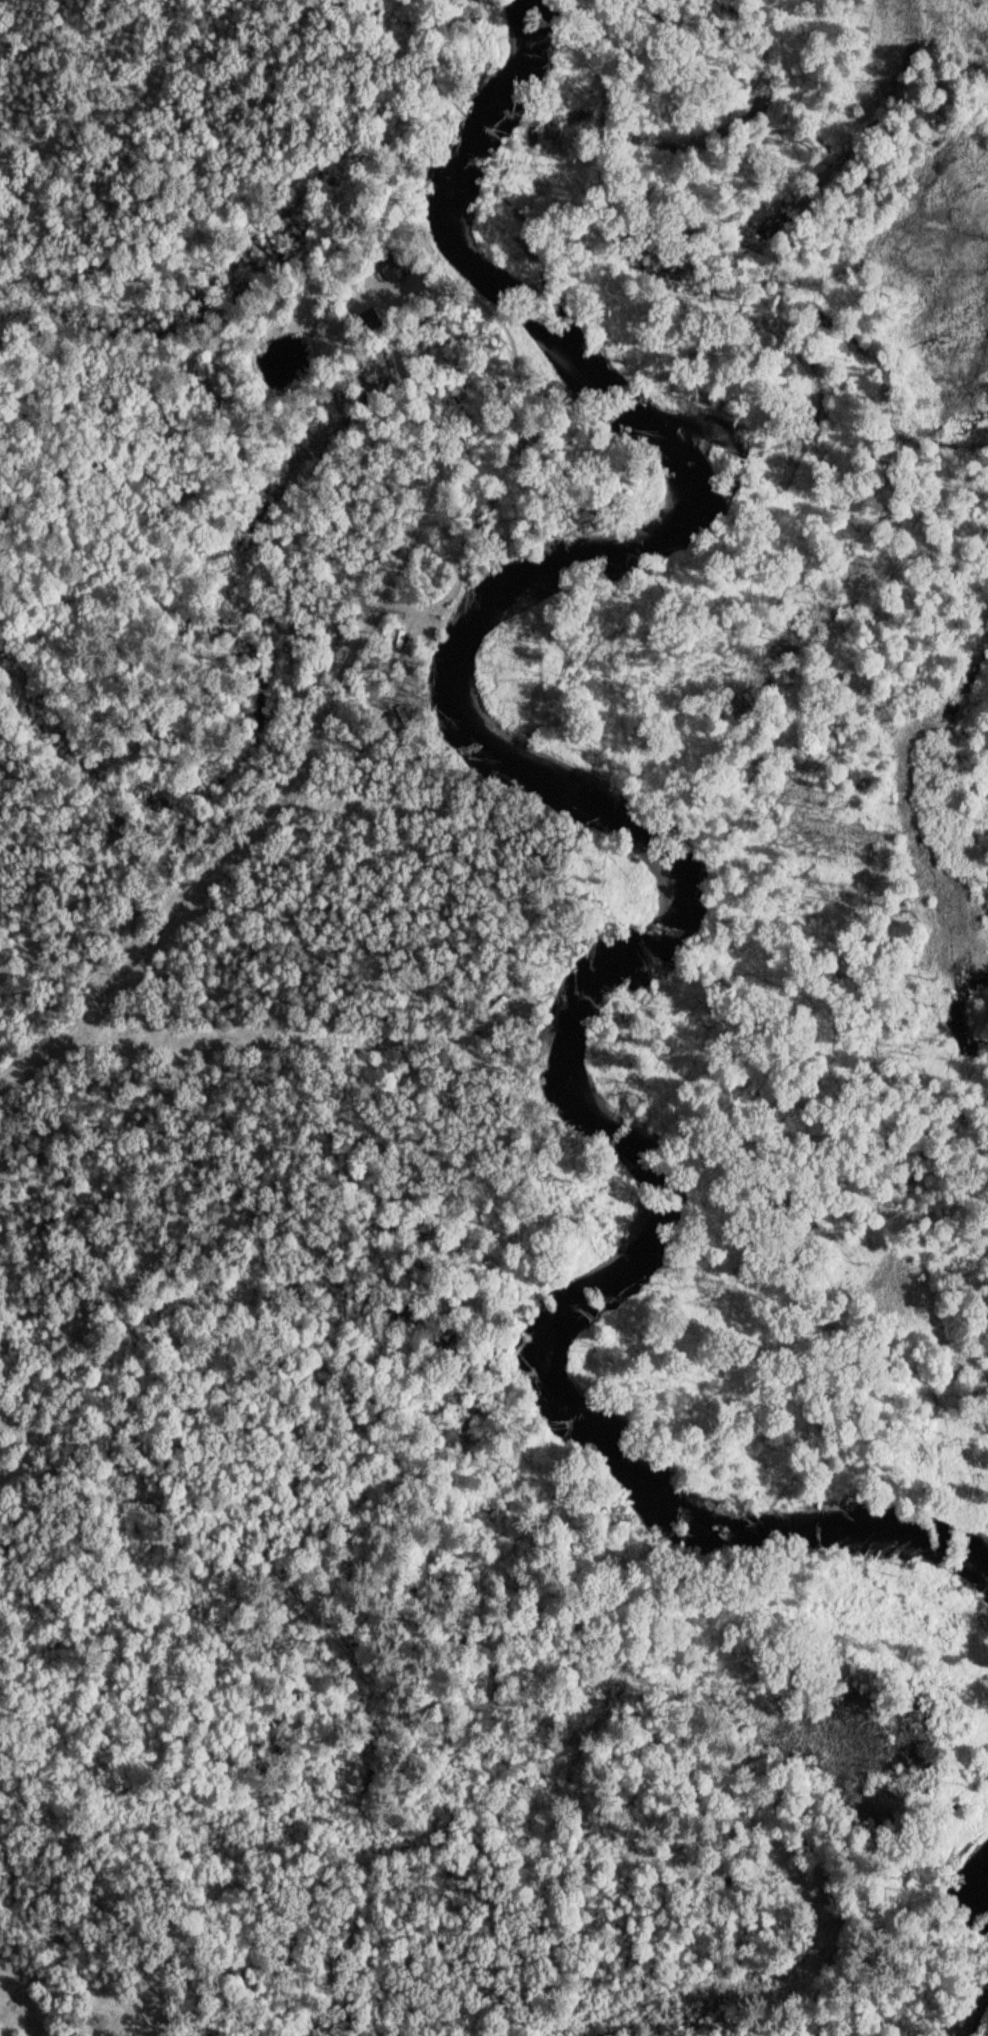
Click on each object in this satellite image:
building: (392, 264)
road: (400, 563)
river: (648, 848)
road: (219, 857)
river: (977, 1877)

